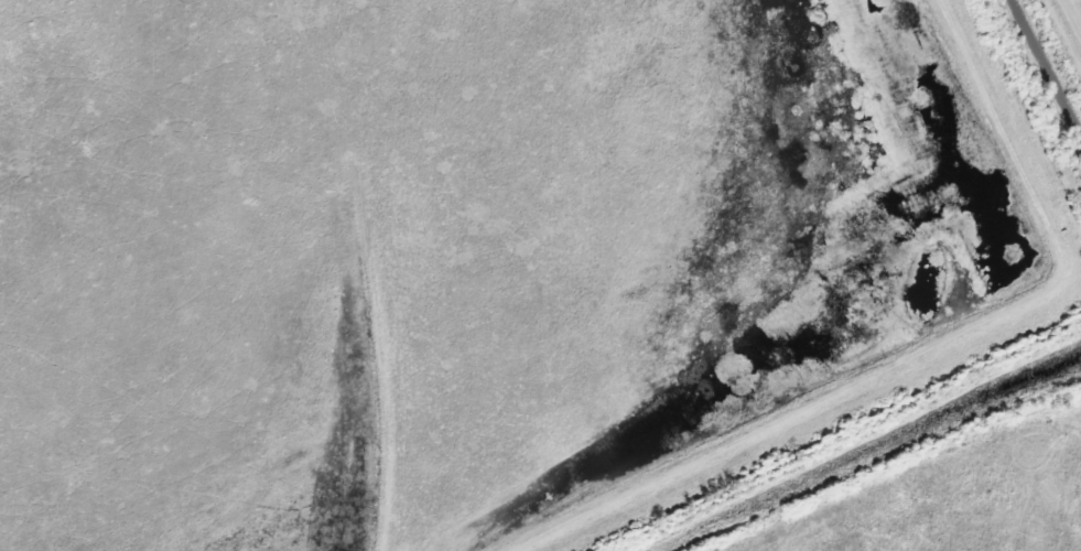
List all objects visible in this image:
road: (1072, 15)
road: (1051, 505)

